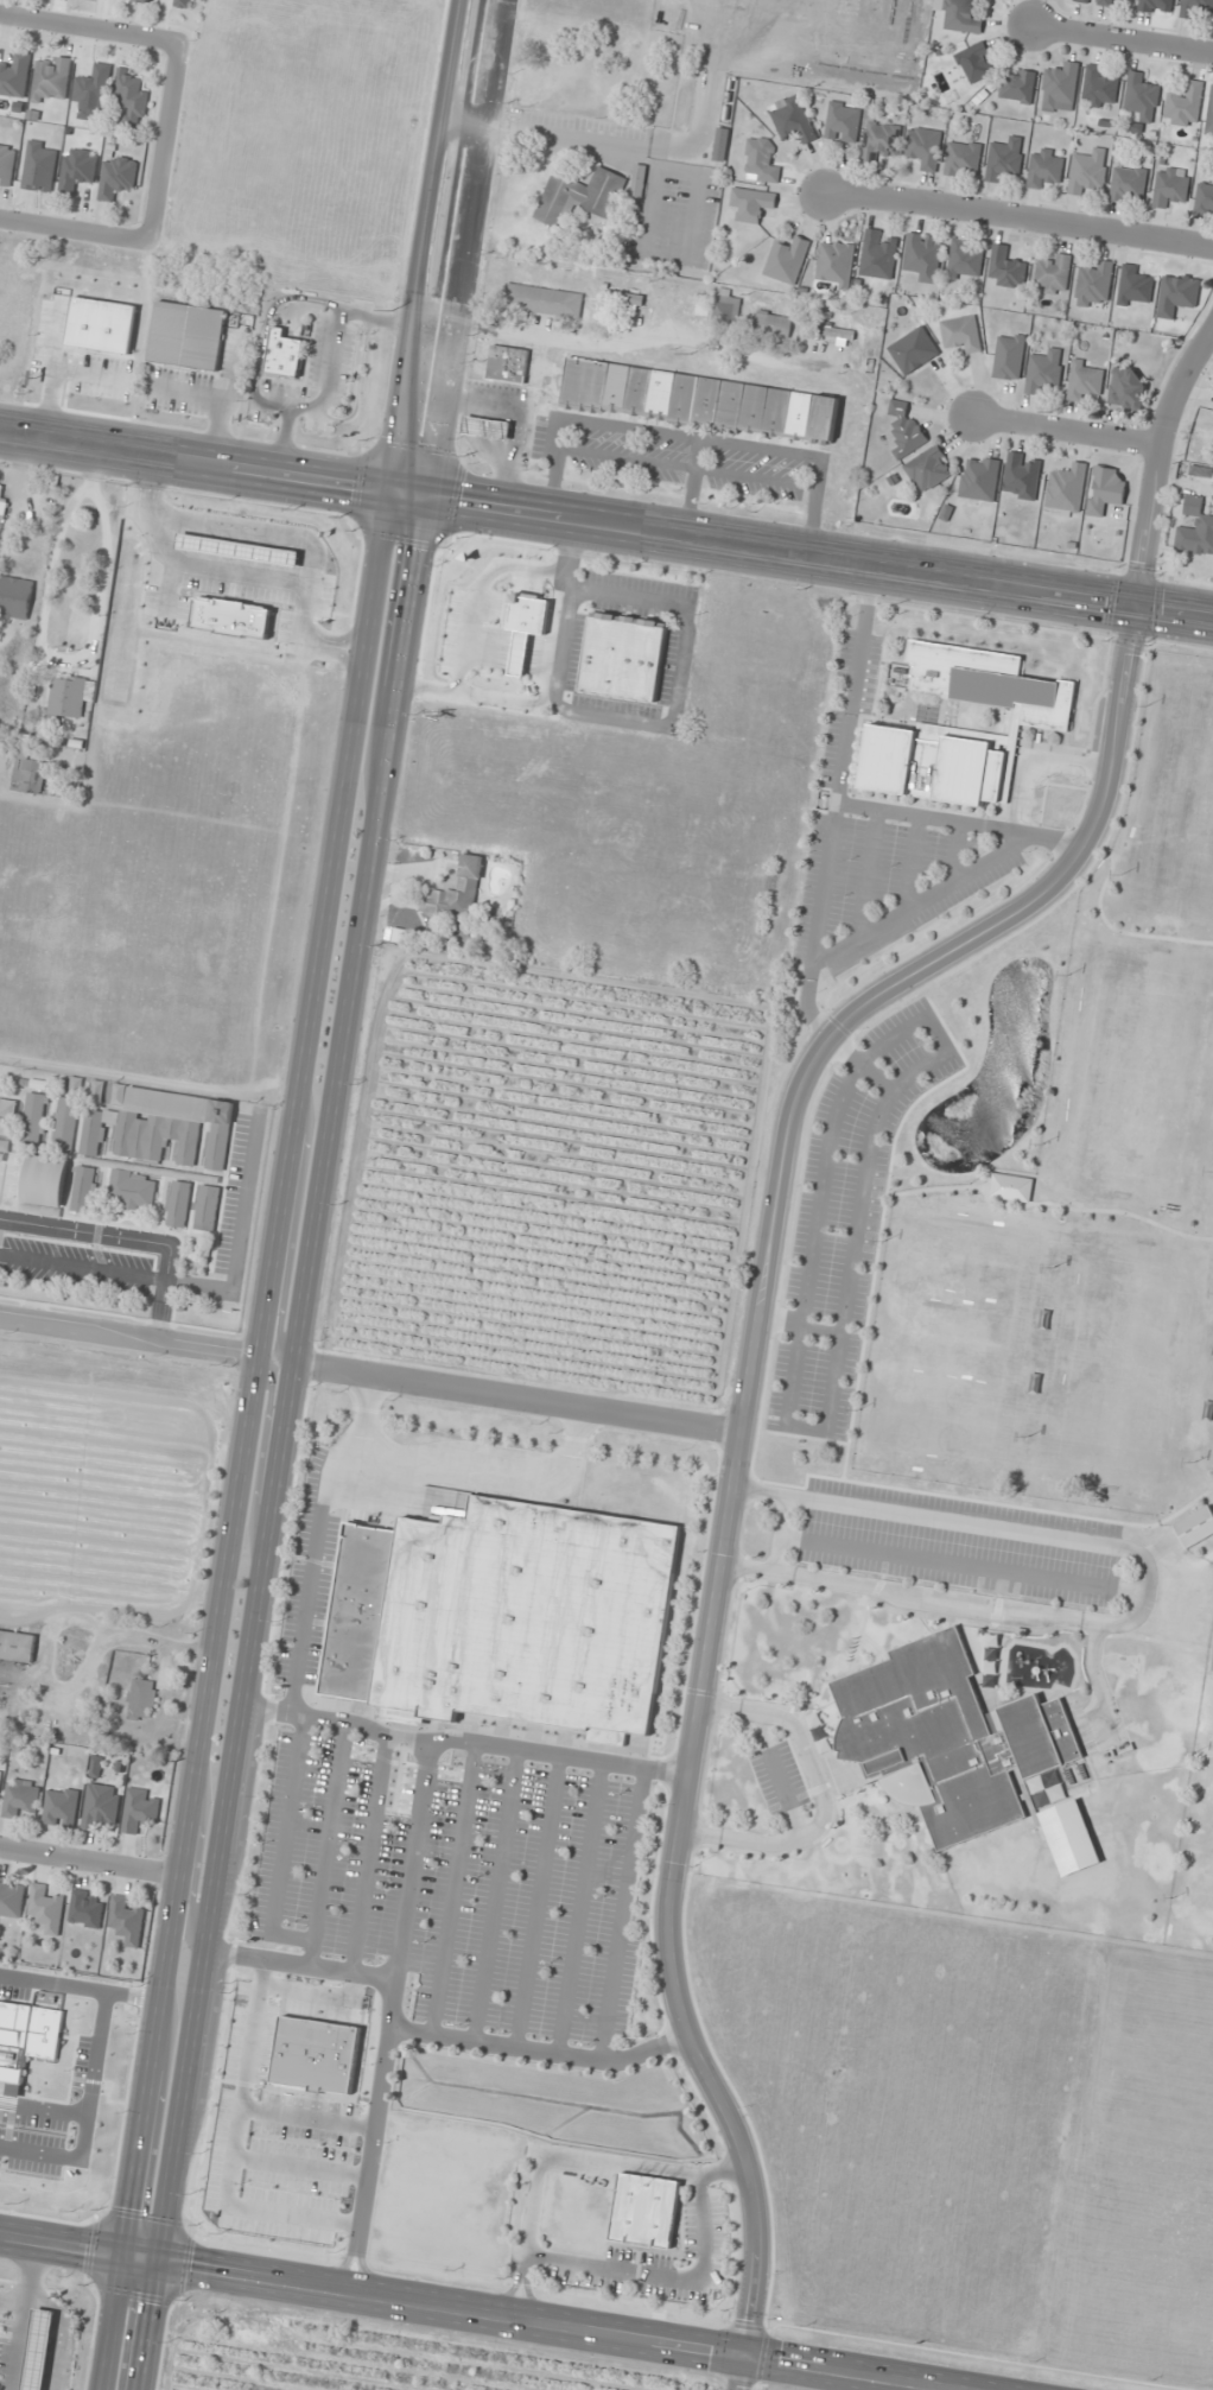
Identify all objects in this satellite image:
building: (141, 0)
building: (182, 2)
building: (1110, 2)
building: (1156, 6)
building: (1194, 7)
building: (960, 15)
road: (89, 28)
road: (1123, 39)
building: (976, 62)
building: (14, 75)
building: (51, 78)
building: (1018, 85)
building: (1060, 87)
building: (1099, 87)
building: (94, 89)
building: (1142, 96)
building: (132, 99)
building: (1183, 104)
building: (1209, 114)
building: (793, 120)
building: (843, 121)
building: (879, 140)
road: (163, 142)
building: (720, 144)
building: (923, 147)
building: (760, 159)
building: (963, 159)
building: (1005, 159)
building: (6, 163)
building: (40, 166)
building: (1044, 166)
building: (78, 170)
building: (1087, 172)
building: (116, 177)
building: (639, 180)
building: (1128, 184)
building: (1170, 186)
building: (579, 196)
building: (1204, 198)
building: (751, 203)
road: (1017, 220)
road: (74, 232)
road: (450, 248)
building: (598, 251)
building: (877, 254)
building: (923, 256)
building: (787, 260)
building: (964, 260)
building: (836, 262)
building: (1005, 268)
building: (1053, 274)
building: (1094, 283)
building: (1135, 284)
building: (1177, 292)
building: (544, 299)
building: (624, 303)
building: (726, 309)
building: (773, 323)
road: (265, 331)
building: (960, 332)
building: (188, 336)
building: (913, 350)
building: (282, 353)
building: (1009, 356)
road: (331, 361)
building: (508, 364)
building: (1044, 370)
road: (356, 379)
building: (1085, 380)
building: (584, 383)
building: (616, 387)
building: (1128, 387)
building: (637, 389)
building: (660, 393)
building: (682, 399)
building: (705, 402)
building: (728, 405)
building: (751, 407)
building: (775, 411)
building: (799, 413)
building: (823, 419)
building: (487, 427)
road: (1065, 427)
building: (906, 430)
road: (690, 436)
parking lot: (679, 454)
road: (686, 467)
building: (928, 468)
building: (1201, 471)
building: (1022, 475)
building: (979, 478)
road: (691, 488)
building: (1105, 490)
building: (0, 492)
building: (1066, 492)
traffic signals: (413, 497)
road: (605, 527)
building: (1195, 528)
building: (15, 596)
building: (623, 657)
building: (989, 682)
building: (65, 700)
parking lot: (849, 706)
building: (932, 765)
building: (30, 769)
road: (834, 804)
park: (1176, 806)
road: (958, 822)
road: (957, 852)
road: (986, 862)
road: (912, 863)
road: (868, 874)
parking lot: (884, 882)
road: (1069, 889)
building: (458, 890)
road: (1116, 930)
street lamp: (927, 1042)
road: (840, 1048)
road: (858, 1064)
park: (1137, 1073)
street lamp: (871, 1089)
building: (33, 1120)
building: (65, 1123)
building: (173, 1126)
building: (93, 1133)
building: (45, 1181)
road: (936, 1187)
building: (1010, 1187)
building: (84, 1188)
building: (132, 1190)
park: (1030, 1190)
building: (178, 1203)
building: (207, 1207)
road: (1088, 1210)
parking lot: (847, 1216)
road: (883, 1216)
street lamp: (836, 1231)
road: (294, 1232)
road: (132, 1241)
road: (783, 1261)
road: (761, 1286)
street lamp: (823, 1319)
road: (798, 1325)
road: (131, 1337)
park: (952, 1338)
park: (1125, 1364)
road: (259, 1370)
road: (517, 1395)
street lamp: (808, 1416)
road: (808, 1425)
road: (806, 1438)
road: (282, 1444)
road: (261, 1451)
road: (457, 1470)
road: (751, 1471)
road: (934, 1492)
road: (1170, 1515)
building: (1194, 1527)
road: (777, 1532)
parking lot: (959, 1542)
road: (960, 1560)
road: (310, 1570)
road: (1144, 1589)
building: (506, 1616)
building: (17, 1644)
building: (1212, 1669)
building: (141, 1699)
building: (945, 1737)
road: (463, 1739)
park: (1209, 1746)
building: (96, 1767)
road: (775, 1773)
building: (0, 1774)
parking lot: (777, 1777)
road: (824, 1795)
building: (20, 1796)
park: (1207, 1798)
building: (101, 1806)
building: (61, 1807)
building: (141, 1809)
park: (1195, 1836)
road: (326, 1841)
road: (284, 1844)
building: (1072, 1844)
road: (368, 1853)
road: (412, 1859)
road: (87, 1863)
road: (196, 1866)
road: (452, 1888)
road: (495, 1894)
park: (1199, 1894)
building: (11, 1897)
road: (536, 1900)
road: (579, 1906)
building: (45, 1908)
building: (85, 1908)
road: (621, 1913)
building: (127, 1920)
road: (385, 2037)
road: (538, 2048)
building: (51, 2073)
crop: (59, 2082)
crop: (903, 2103)
road: (642, 2169)
street lamp: (20, 2202)
building: (644, 2208)
road: (527, 2236)
road: (61, 2243)
traffic signals: (154, 2257)
road: (660, 2277)
road: (24, 2314)
road: (63, 2321)
road: (112, 2321)
road: (539, 2321)
building: (38, 2350)
gas station: (38, 2350)

